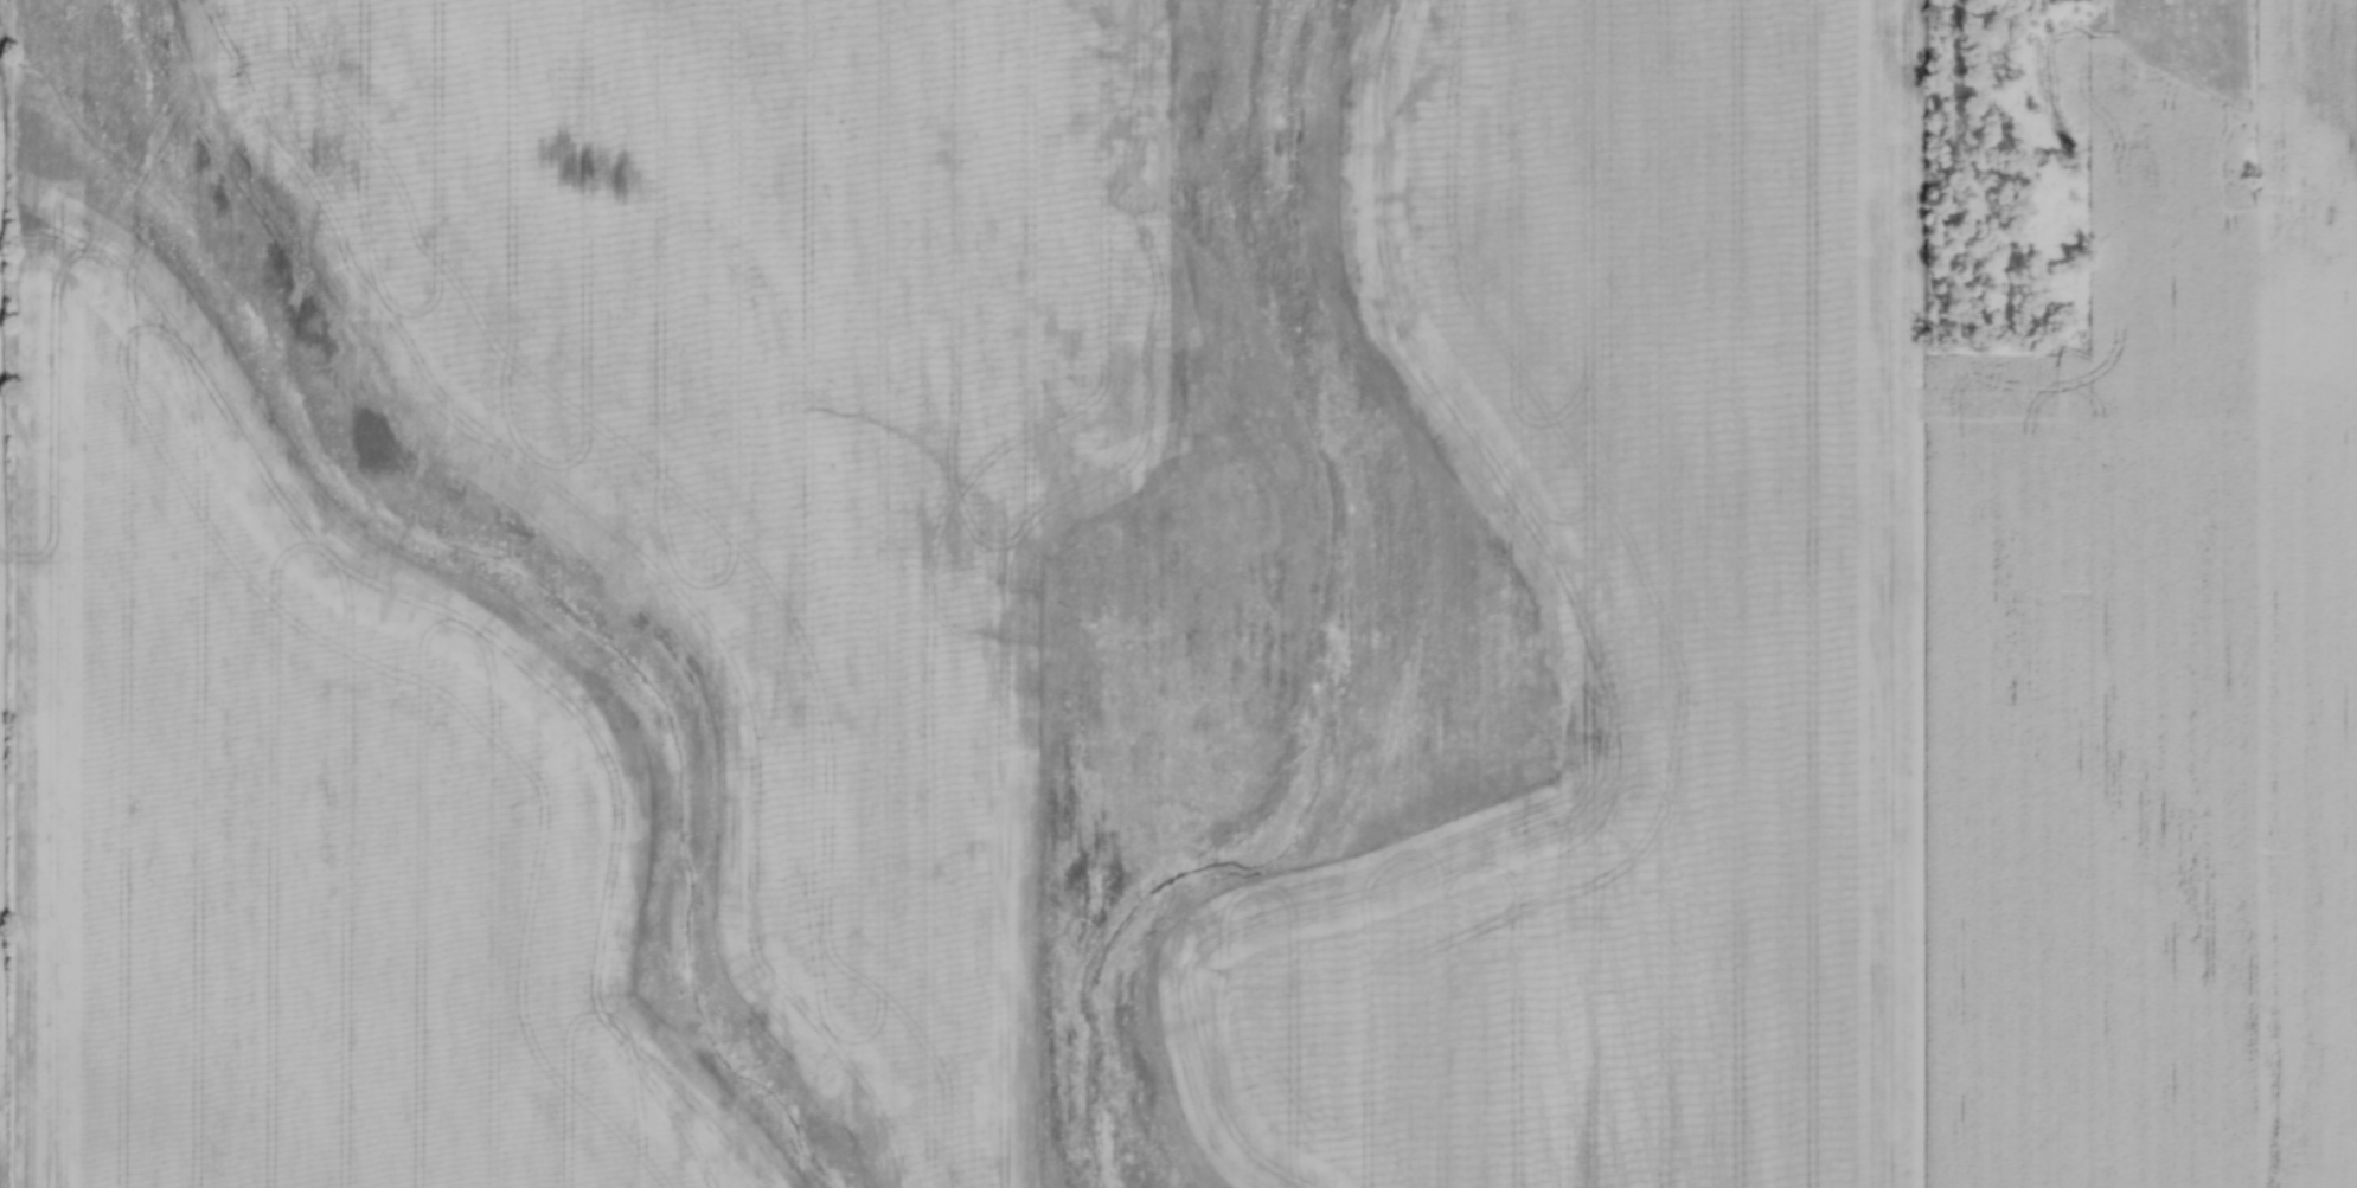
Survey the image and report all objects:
building: (2224, 231)

